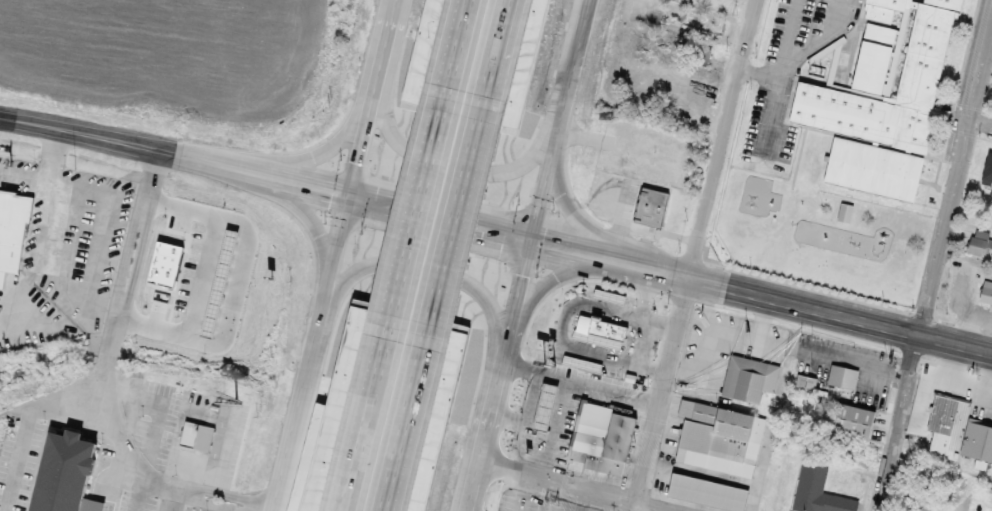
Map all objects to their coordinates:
building: (432, 3)
building: (881, 9)
building: (702, 17)
road: (454, 56)
building: (701, 56)
road: (494, 69)
road: (504, 69)
building: (915, 82)
building: (399, 86)
road: (381, 99)
road: (349, 122)
road: (982, 124)
building: (768, 149)
road: (180, 154)
building: (865, 166)
building: (987, 166)
road: (470, 175)
road: (158, 179)
traffic signals: (359, 198)
road: (298, 205)
building: (651, 207)
building: (601, 217)
road: (449, 219)
road: (599, 227)
road: (455, 232)
park: (822, 232)
building: (12, 233)
traffic signals: (539, 241)
building: (975, 245)
road: (697, 250)
road: (535, 255)
road: (930, 274)
road: (420, 275)
road: (726, 289)
building: (986, 291)
building: (611, 296)
road: (391, 312)
building: (605, 326)
road: (530, 338)
building: (600, 339)
road: (953, 345)
road: (318, 353)
building: (584, 365)
road: (114, 366)
building: (844, 377)
building: (751, 379)
building: (808, 384)
road: (56, 400)
building: (547, 408)
gas station: (547, 408)
road: (409, 418)
building: (858, 422)
building: (958, 432)
building: (192, 433)
building: (604, 438)
building: (721, 438)
road: (28, 458)
building: (79, 475)
road: (581, 488)
building: (819, 492)
road: (231, 493)
building: (710, 493)
road: (155, 495)
road: (185, 500)
road: (209, 504)
road: (632, 506)

